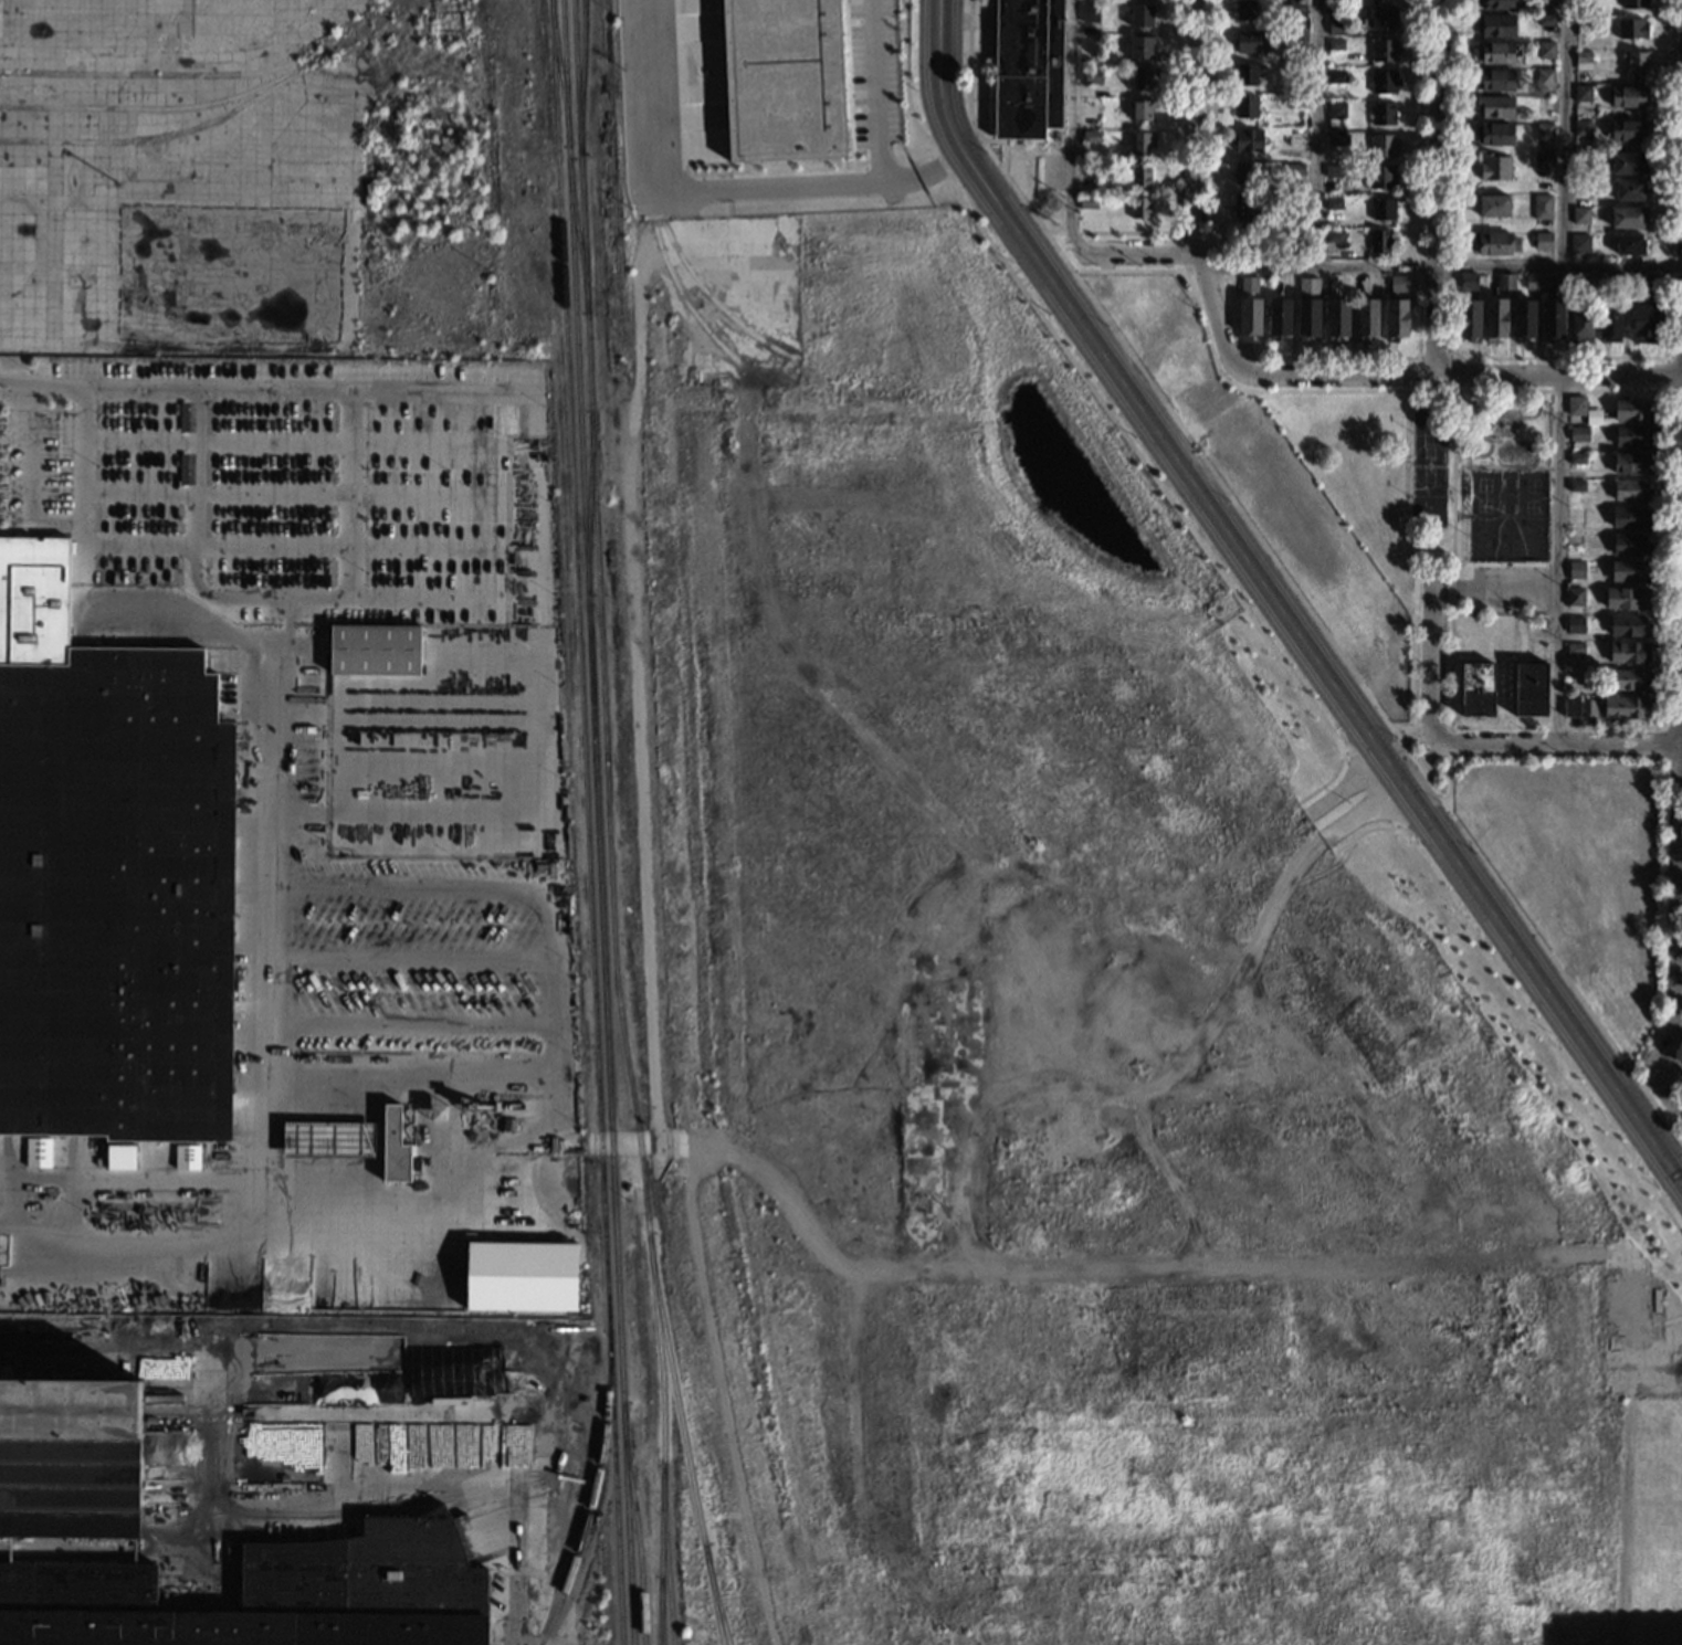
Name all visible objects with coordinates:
building: (1546, 2)
building: (1632, 3)
building: (1497, 4)
building: (1296, 8)
building: (1245, 10)
building: (1090, 12)
building: (1139, 17)
building: (1379, 21)
building: (1546, 21)
building: (1494, 27)
building: (1583, 27)
building: (1336, 28)
building: (1630, 29)
building: (1247, 42)
building: (1297, 42)
building: (1334, 45)
building: (1139, 48)
building: (1383, 51)
building: (1545, 51)
building: (1499, 52)
building: (1581, 61)
building: (1632, 62)
building: (1026, 67)
road: (938, 72)
railway: (559, 73)
building: (1244, 74)
railway: (149, 75)
railway: (581, 75)
building: (1091, 75)
building: (1335, 77)
building: (781, 78)
building: (1140, 78)
building: (1544, 78)
building: (1496, 81)
building: (1383, 82)
road: (875, 91)
building: (1581, 93)
building: (1627, 97)
building: (1293, 103)
building: (1244, 107)
building: (1494, 107)
railway: (156, 108)
building: (1140, 109)
building: (1090, 110)
building: (1334, 110)
building: (1381, 114)
road: (1194, 126)
road: (1072, 127)
building: (1581, 128)
building: (1626, 131)
road: (1317, 133)
building: (1543, 133)
road: (1562, 133)
building: (1492, 135)
railway: (160, 137)
building: (1090, 137)
building: (1244, 140)
building: (1336, 140)
building: (1139, 143)
building: (1380, 146)
building: (1543, 160)
building: (1580, 162)
building: (1628, 164)
building: (1493, 168)
building: (1294, 169)
building: (1089, 171)
building: (1332, 171)
road: (926, 172)
building: (1243, 175)
building: (1138, 176)
building: (1379, 178)
road: (1443, 187)
building: (1581, 188)
road: (677, 191)
building: (1628, 191)
building: (1085, 202)
building: (1331, 203)
building: (1138, 205)
building: (1293, 205)
building: (1492, 207)
building: (1241, 208)
building: (1539, 208)
building: (1379, 209)
building: (1578, 215)
building: (1625, 219)
road: (1097, 232)
railway: (577, 234)
building: (1332, 236)
building: (1242, 240)
building: (1293, 241)
building: (1378, 242)
building: (1541, 242)
building: (1494, 244)
building: (1577, 244)
building: (1627, 245)
road: (1137, 252)
road: (1441, 264)
building: (1465, 281)
building: (1503, 281)
building: (1532, 282)
building: (1247, 283)
building: (1578, 284)
building: (1646, 284)
building: (1397, 285)
building: (1607, 285)
building: (1308, 287)
building: (1248, 316)
building: (1276, 316)
building: (1306, 317)
building: (1335, 317)
building: (1395, 317)
building: (1468, 317)
building: (1364, 318)
building: (1494, 318)
building: (1523, 318)
building: (1550, 319)
building: (1608, 319)
building: (1643, 323)
building: (1579, 326)
road: (1328, 358)
road: (1452, 358)
road: (1559, 358)
road: (1396, 372)
road: (1668, 373)
road: (460, 384)
building: (1571, 405)
building: (1631, 410)
road: (53, 414)
road: (1108, 414)
road: (1668, 422)
building: (1577, 433)
building: (1631, 436)
road: (292, 440)
building: (1576, 458)
road: (1452, 463)
building: (1630, 464)
parking lot: (278, 484)
building: (1575, 485)
building: (1629, 489)
road: (293, 494)
railway: (589, 502)
building: (1629, 517)
road: (55, 521)
road: (197, 535)
road: (1433, 545)
building: (1629, 545)
road: (293, 547)
road: (84, 553)
road: (1556, 559)
building: (1575, 570)
building: (1629, 571)
building: (1573, 597)
building: (1625, 598)
road: (425, 601)
building: (1574, 624)
building: (1626, 625)
road: (161, 637)
building: (375, 650)
building: (1574, 650)
road: (1413, 652)
building: (1627, 652)
road: (1318, 662)
road: (1431, 667)
building: (1627, 678)
road: (1363, 689)
building: (1475, 689)
building: (1529, 689)
building: (1578, 707)
building: (1623, 707)
road: (1353, 719)
road: (1447, 727)
road: (1671, 727)
road: (280, 732)
road: (1557, 744)
road: (1448, 784)
road: (1346, 785)
road: (1369, 787)
road: (1364, 810)
railway: (586, 822)
railway: (597, 822)
railway: (608, 823)
road: (1427, 825)
building: (109, 876)
parking lot: (428, 956)
road: (1679, 958)
road: (410, 959)
road: (550, 968)
road: (1518, 999)
road: (986, 1099)
road: (1679, 1113)
road: (549, 1117)
road: (612, 1141)
building: (395, 1146)
building: (38, 1152)
building: (120, 1156)
building: (187, 1157)
road: (1169, 1178)
road: (973, 1257)
road: (1248, 1268)
building: (522, 1276)
road: (174, 1346)
railway: (685, 1440)
building: (70, 1458)
road: (444, 1478)
railway: (591, 1494)
railway: (635, 1523)
road: (181, 1529)
road: (9, 1550)
road: (83, 1550)
road: (134, 1551)
railway: (665, 1557)
road: (221, 1579)
railway: (716, 1594)
building: (266, 1596)
railway: (661, 1611)

